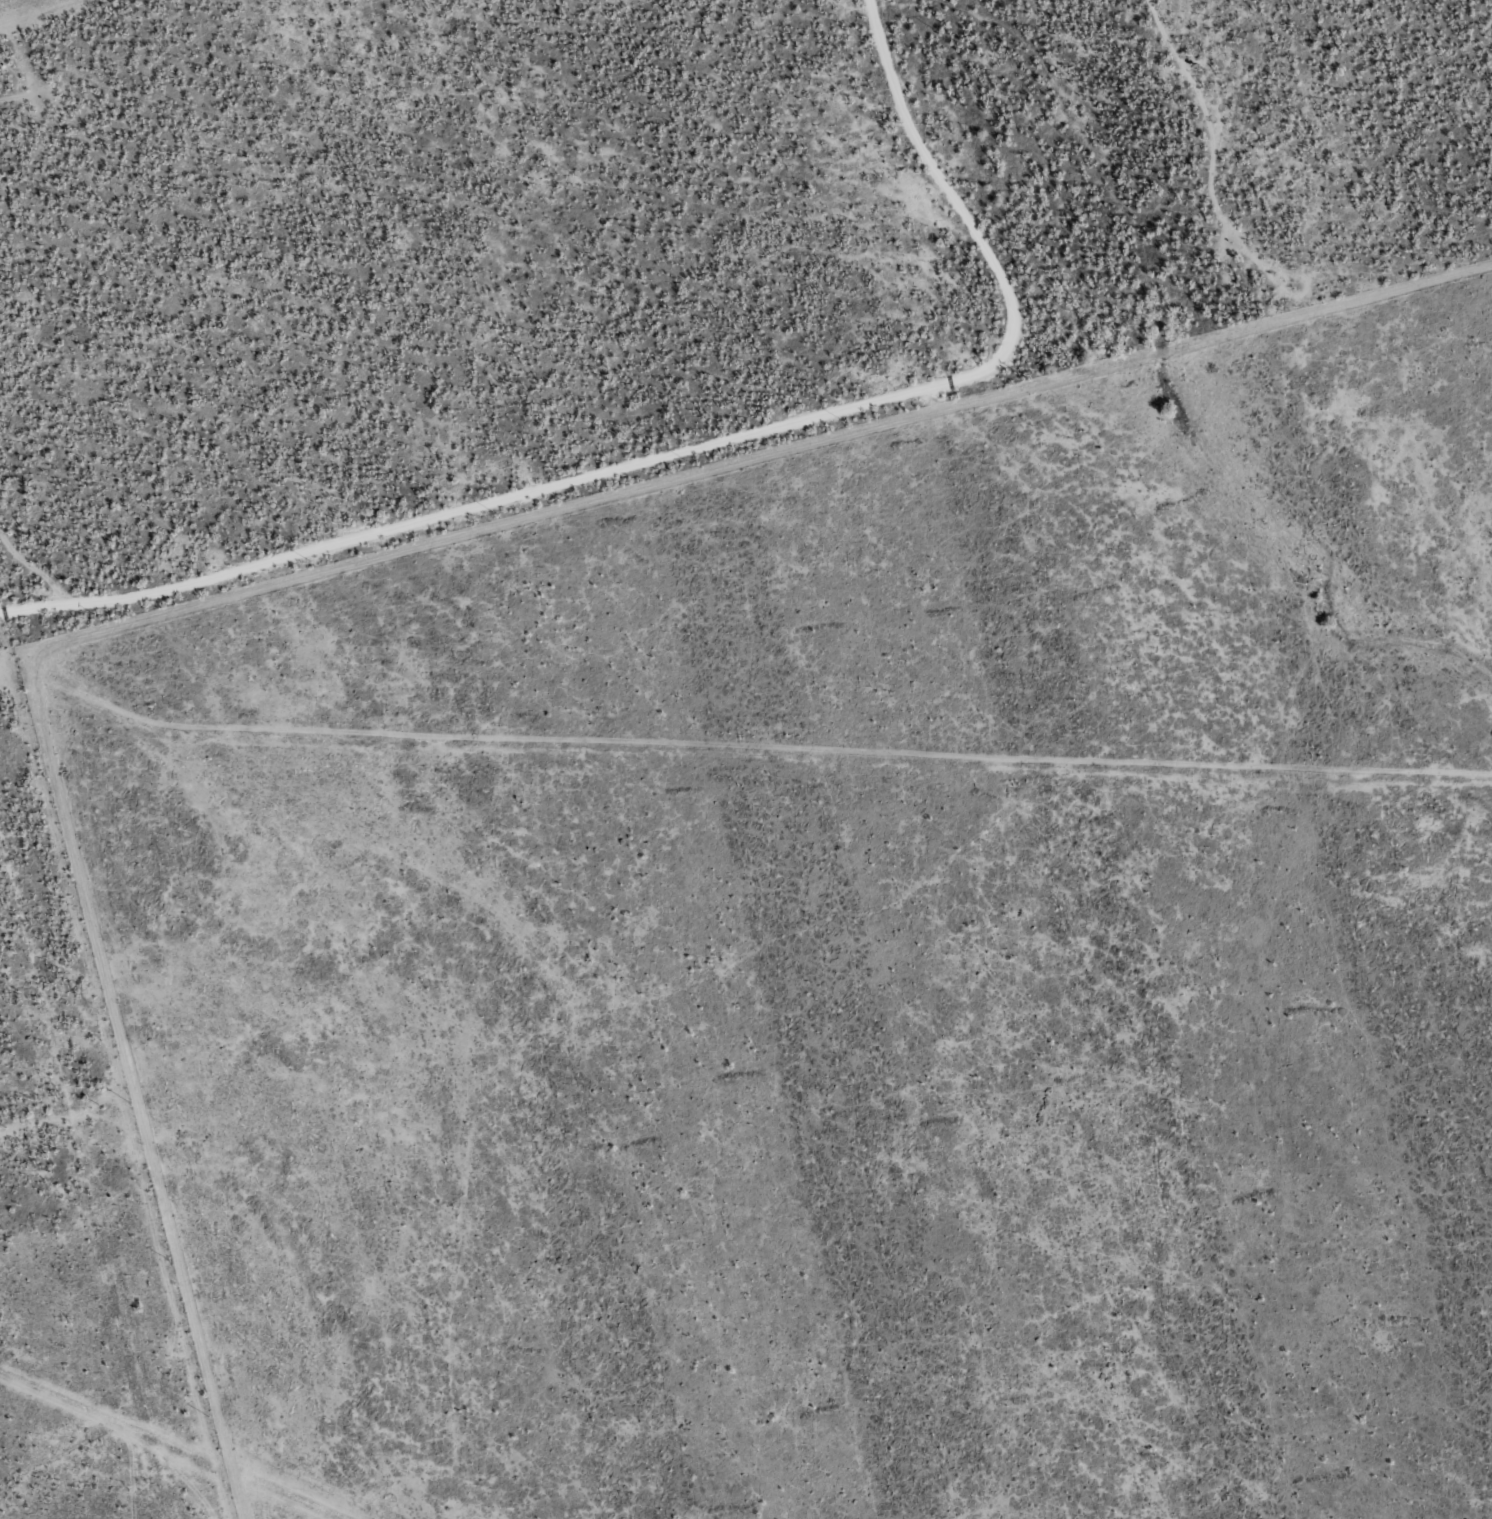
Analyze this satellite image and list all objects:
road: (740, 943)

